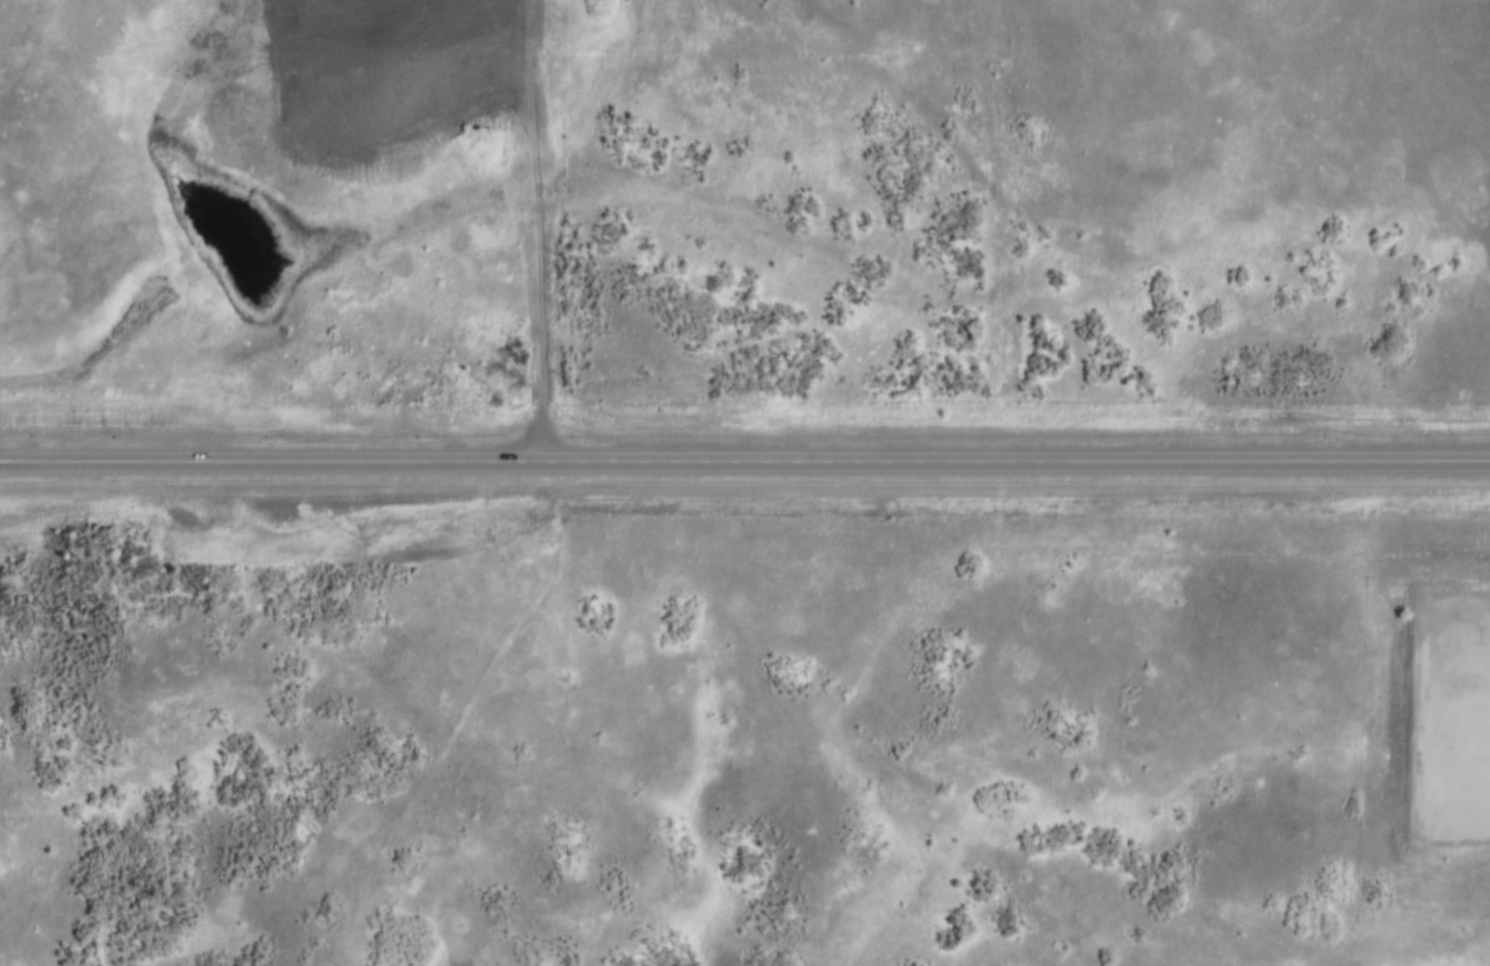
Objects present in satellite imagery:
road: (744, 462)

